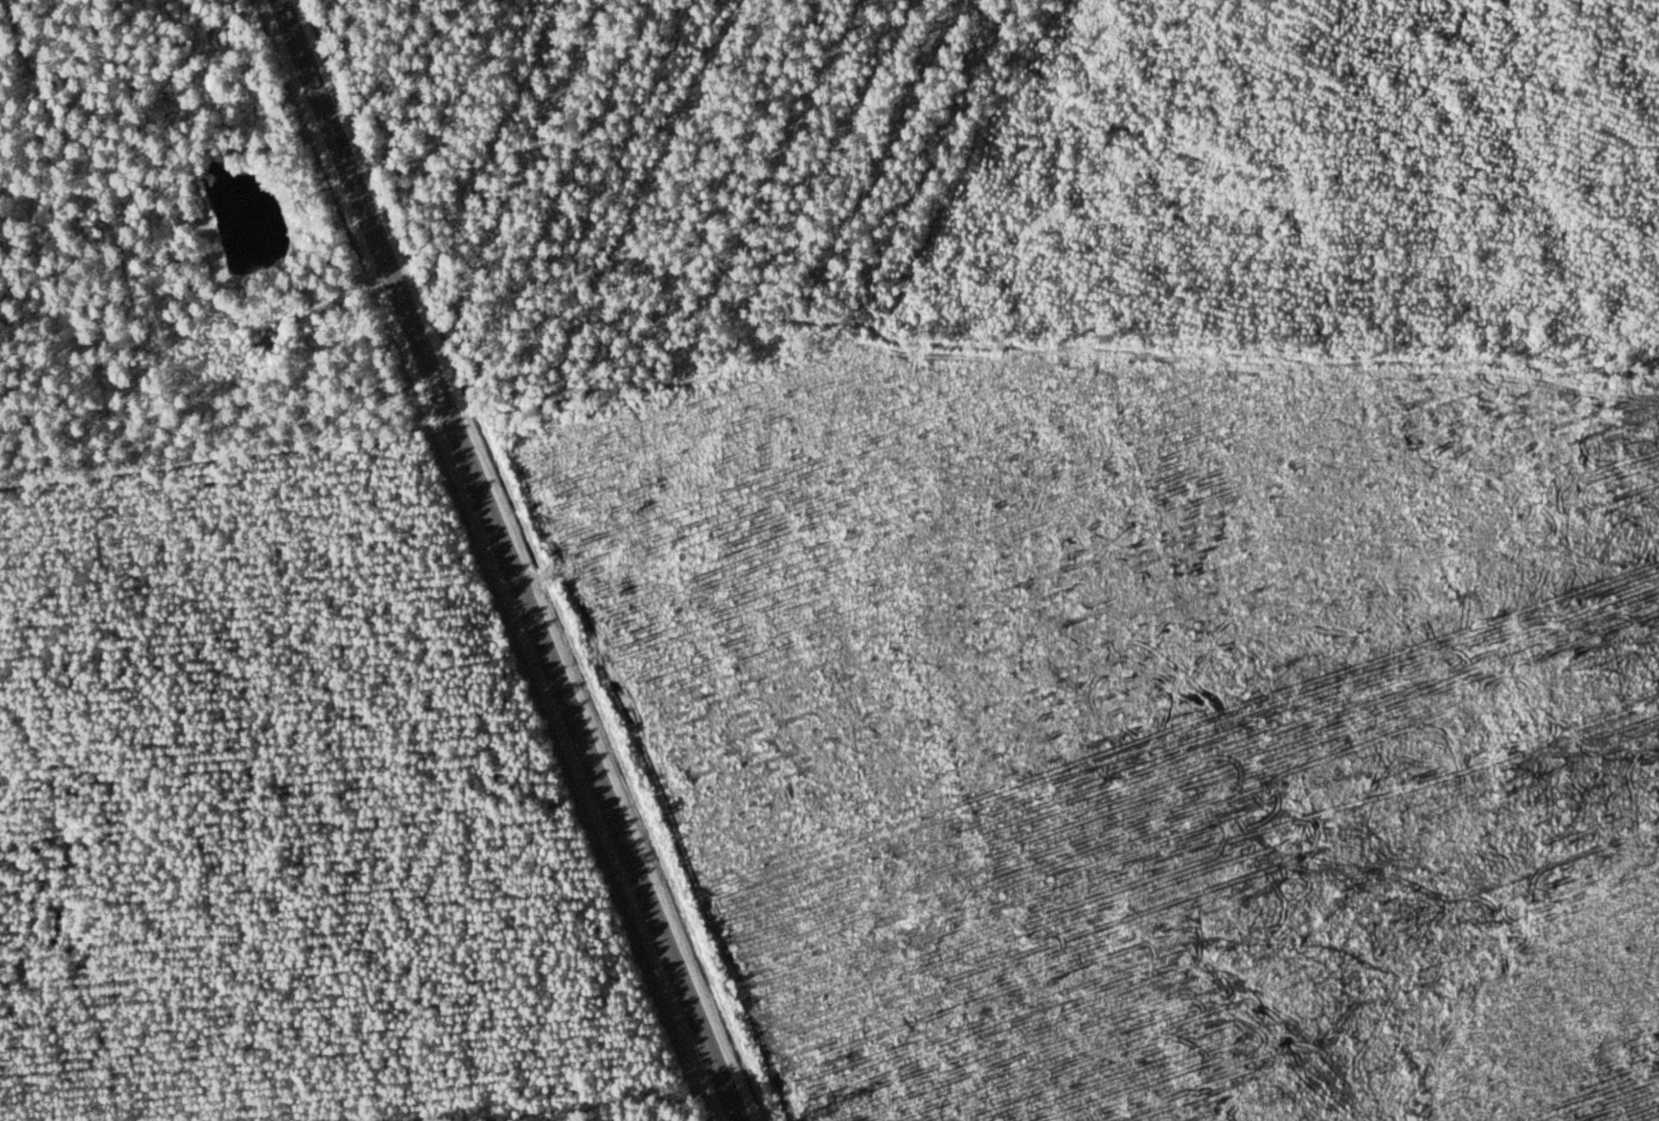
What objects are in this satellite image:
road: (509, 560)

